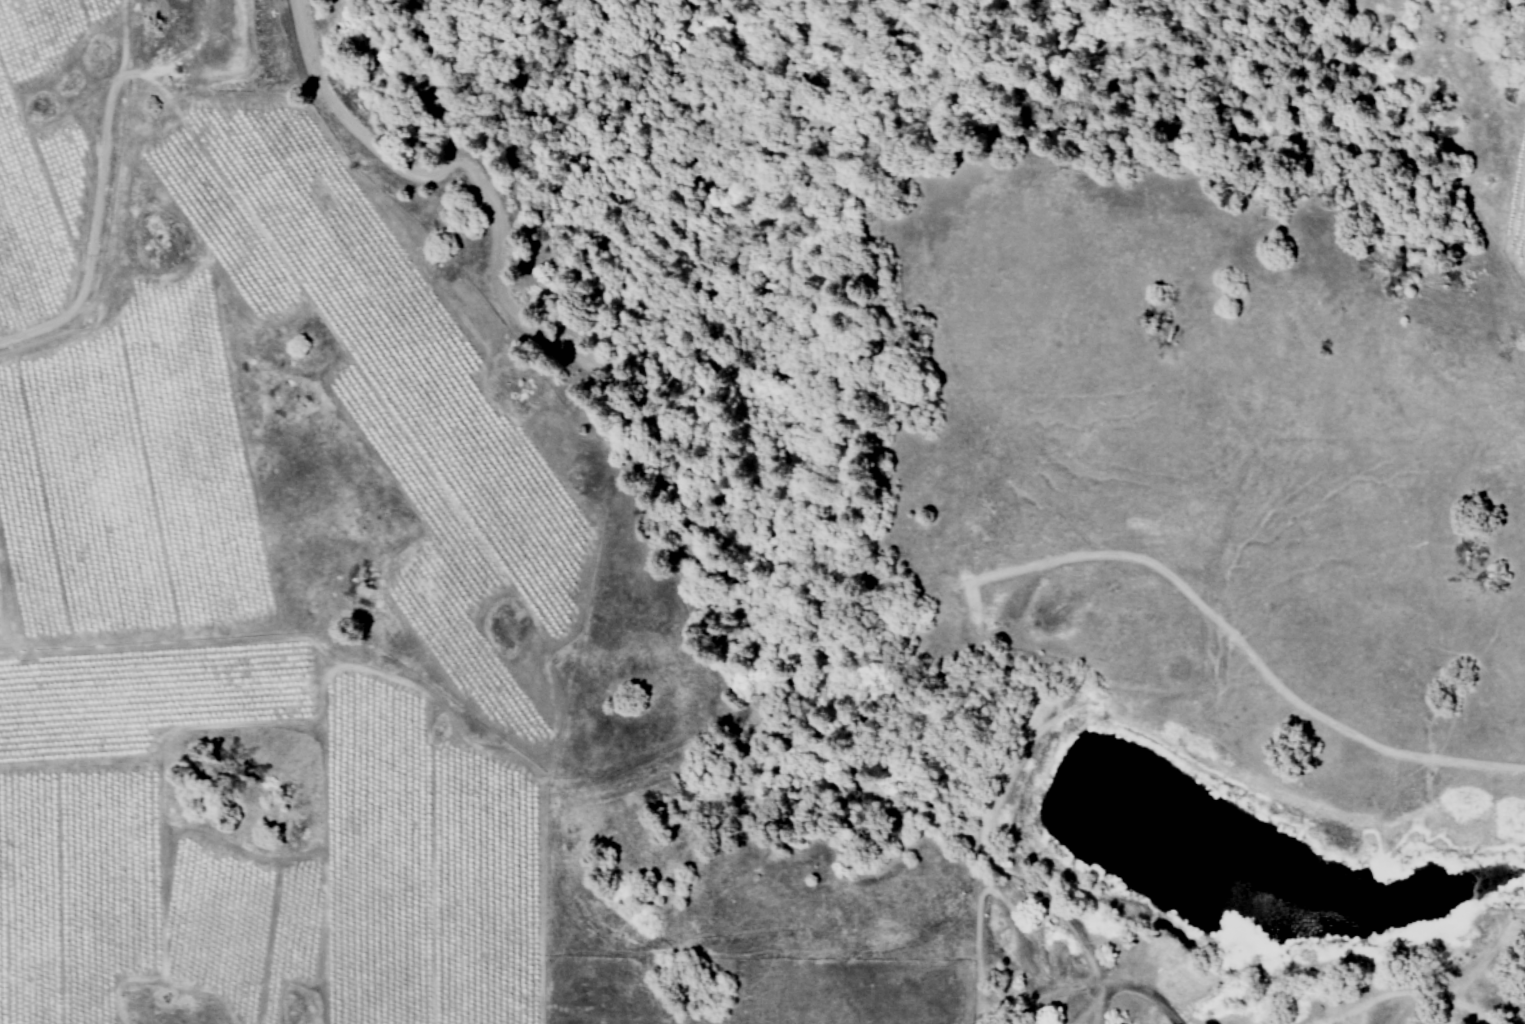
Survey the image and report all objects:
crop: (1519, 206)
road: (1090, 953)

